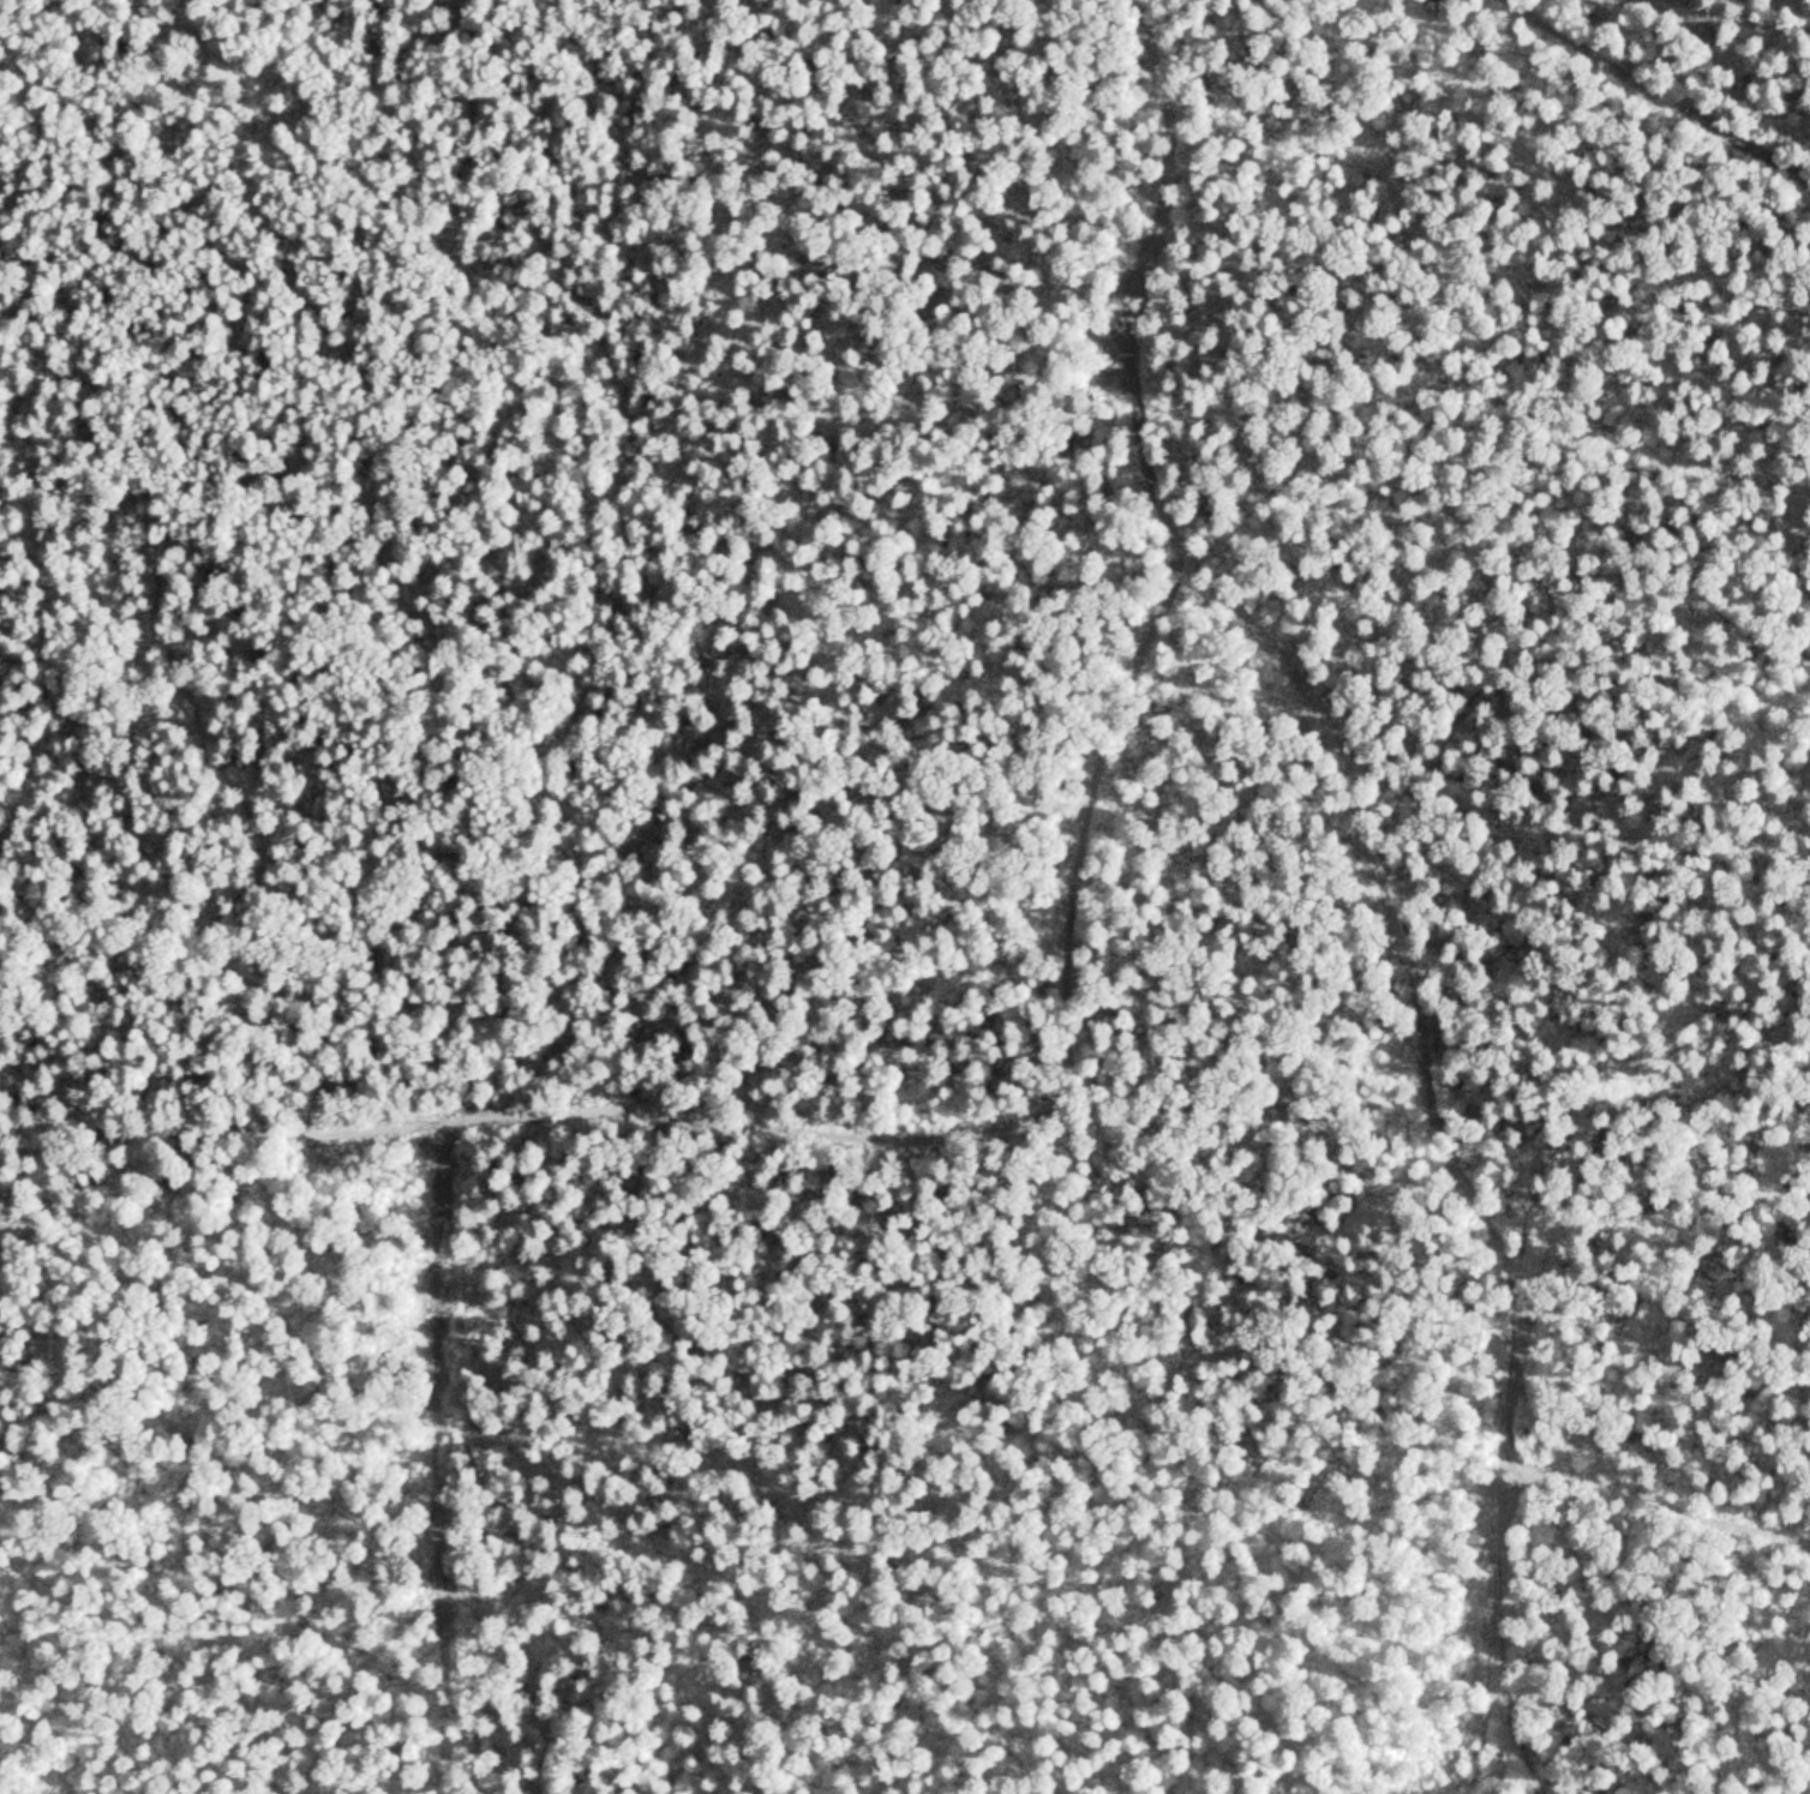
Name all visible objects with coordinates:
road: (4, 0)
road: (1720, 66)
road: (511, 1056)

